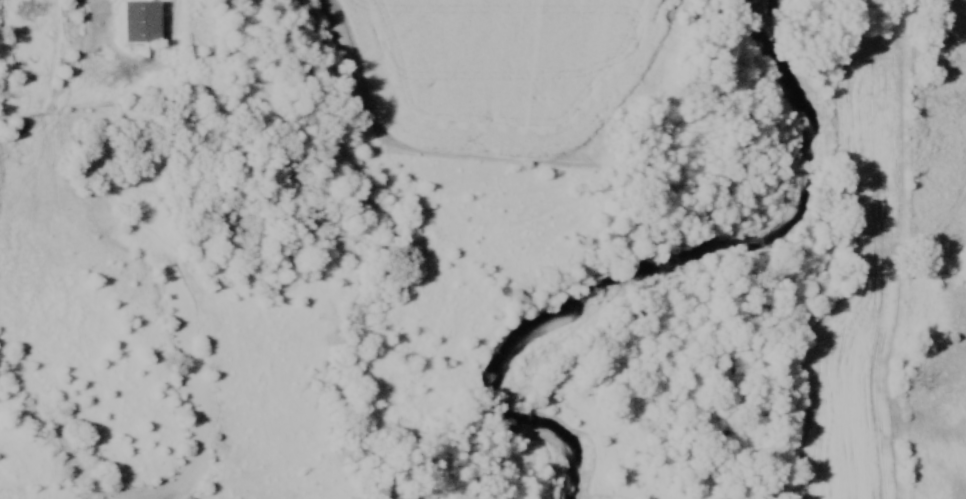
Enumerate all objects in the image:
building: (133, 20)

